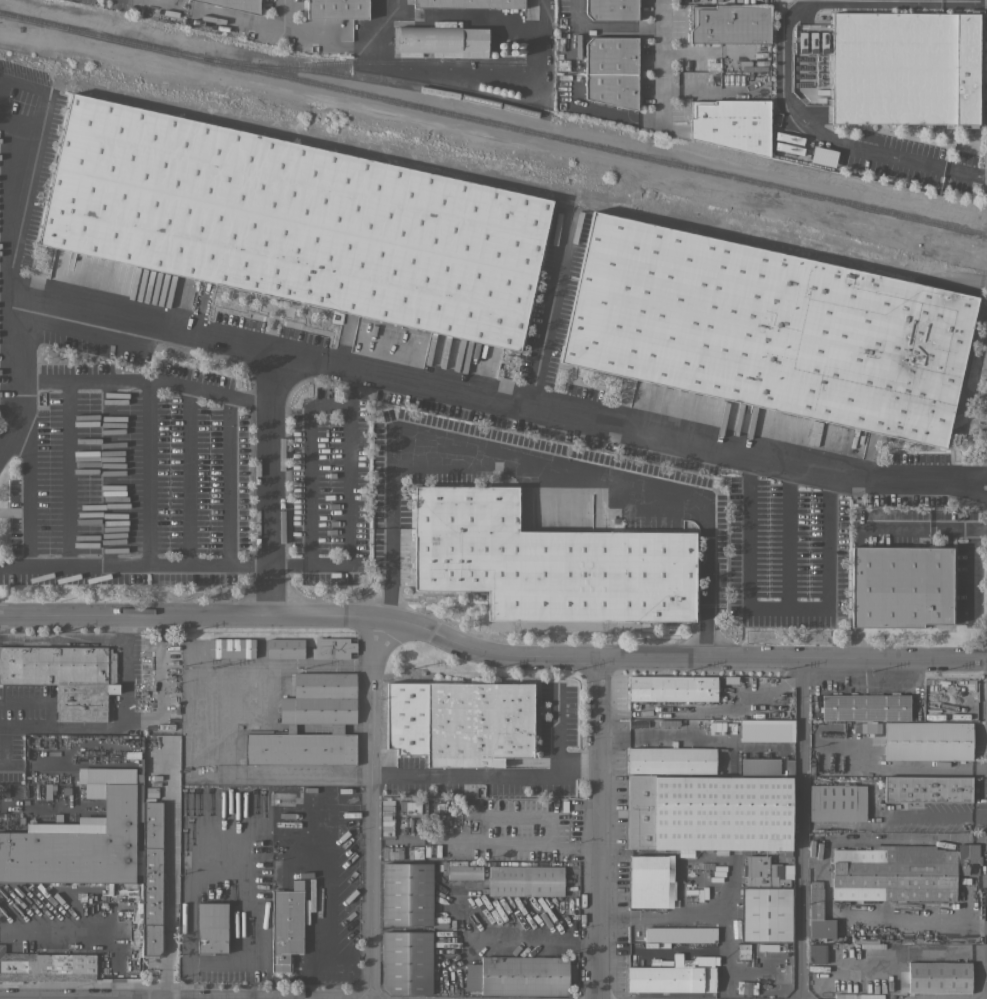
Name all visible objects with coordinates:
road: (155, 2)
building: (469, 3)
building: (237, 5)
building: (337, 9)
building: (611, 9)
road: (259, 23)
building: (730, 23)
road: (621, 27)
road: (345, 38)
building: (442, 41)
building: (611, 56)
road: (664, 58)
railway: (398, 61)
building: (903, 68)
railway: (392, 83)
building: (612, 89)
road: (628, 114)
railway: (493, 123)
building: (732, 124)
road: (824, 134)
building: (798, 149)
building: (822, 156)
road: (31, 171)
building: (294, 221)
road: (550, 316)
building: (767, 329)
road: (13, 377)
road: (143, 379)
road: (494, 404)
road: (307, 463)
road: (537, 468)
road: (269, 485)
road: (348, 509)
road: (922, 526)
road: (787, 541)
building: (547, 562)
road: (134, 565)
road: (389, 571)
road: (973, 572)
building: (900, 586)
road: (706, 614)
road: (778, 616)
road: (126, 628)
building: (231, 647)
building: (285, 648)
building: (332, 648)
road: (490, 650)
building: (64, 676)
building: (758, 680)
road: (125, 681)
building: (682, 688)
building: (865, 707)
building: (317, 710)
road: (197, 715)
building: (459, 721)
road: (556, 728)
building: (870, 728)
building: (763, 732)
building: (928, 741)
building: (672, 760)
building: (759, 766)
building: (789, 767)
road: (900, 767)
road: (487, 775)
building: (927, 789)
building: (838, 803)
road: (36, 804)
road: (373, 805)
building: (413, 807)
building: (709, 812)
road: (937, 817)
road: (599, 827)
road: (797, 828)
building: (944, 845)
building: (100, 851)
building: (901, 871)
building: (465, 872)
building: (525, 881)
building: (652, 881)
building: (406, 893)
building: (765, 902)
building: (843, 907)
building: (819, 913)
road: (186, 915)
building: (287, 925)
building: (211, 927)
building: (680, 934)
road: (53, 936)
road: (540, 936)
building: (817, 952)
building: (407, 962)
building: (46, 966)
building: (520, 975)
building: (674, 976)
building: (939, 977)
building: (858, 995)

